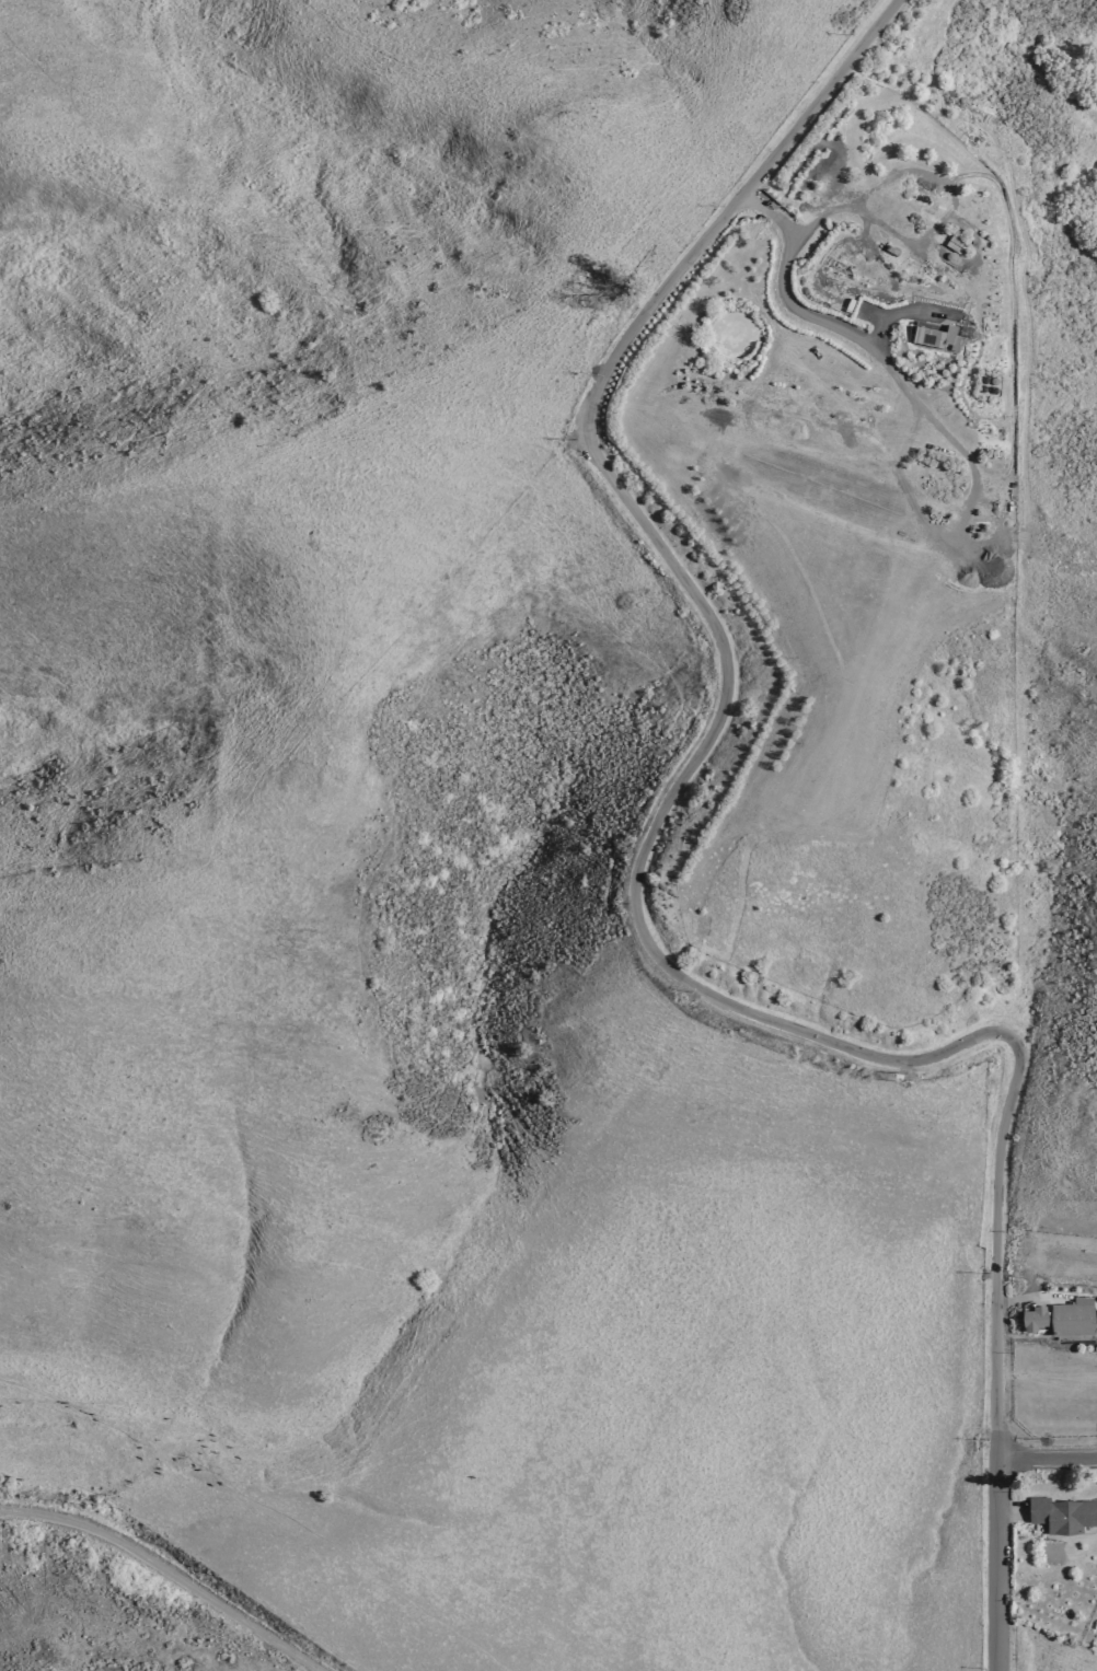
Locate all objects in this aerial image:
road: (979, 164)
building: (946, 237)
building: (942, 255)
storage tank: (942, 255)
road: (907, 310)
road: (833, 330)
road: (877, 332)
building: (936, 337)
road: (635, 889)
road: (1021, 1275)
road: (1031, 1297)
building: (1095, 1298)
building: (1034, 1318)
building: (1072, 1318)
road: (1047, 1459)
road: (1009, 1510)
building: (1062, 1515)
road: (1096, 1543)
road: (162, 1574)
road: (996, 1649)
road: (1012, 1649)
park: (1049, 1650)

